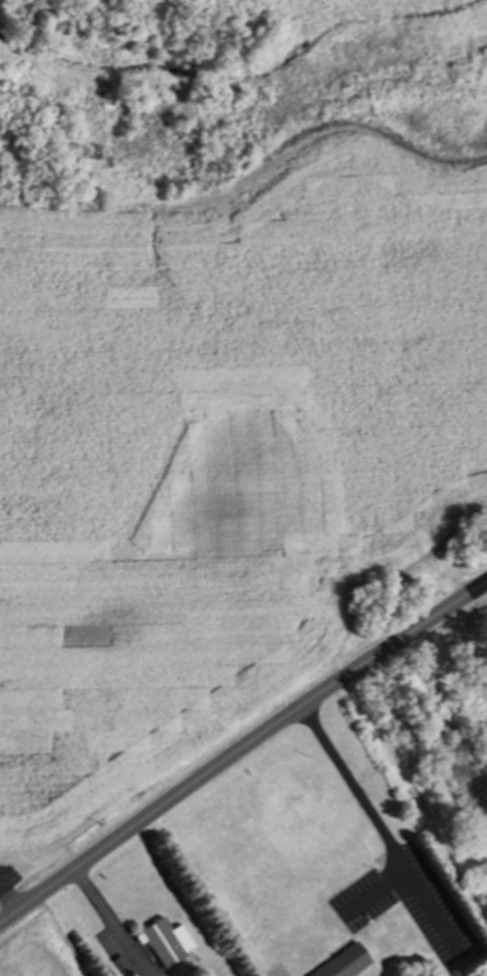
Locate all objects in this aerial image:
road: (481, 592)
road: (240, 749)
road: (377, 824)
road: (9, 900)
road: (111, 923)
building: (164, 942)
building: (343, 963)

